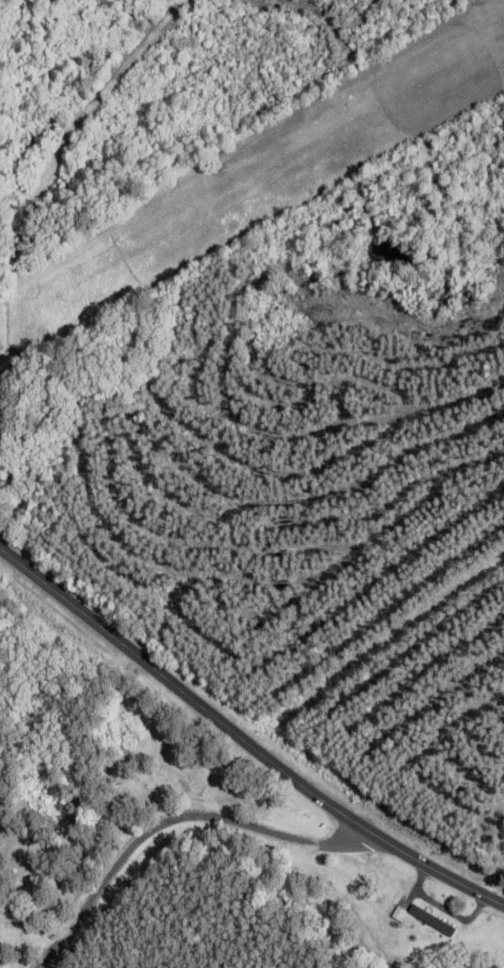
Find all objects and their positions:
road: (244, 734)
road: (252, 827)
road: (91, 901)
building: (415, 918)
building: (3, 959)

